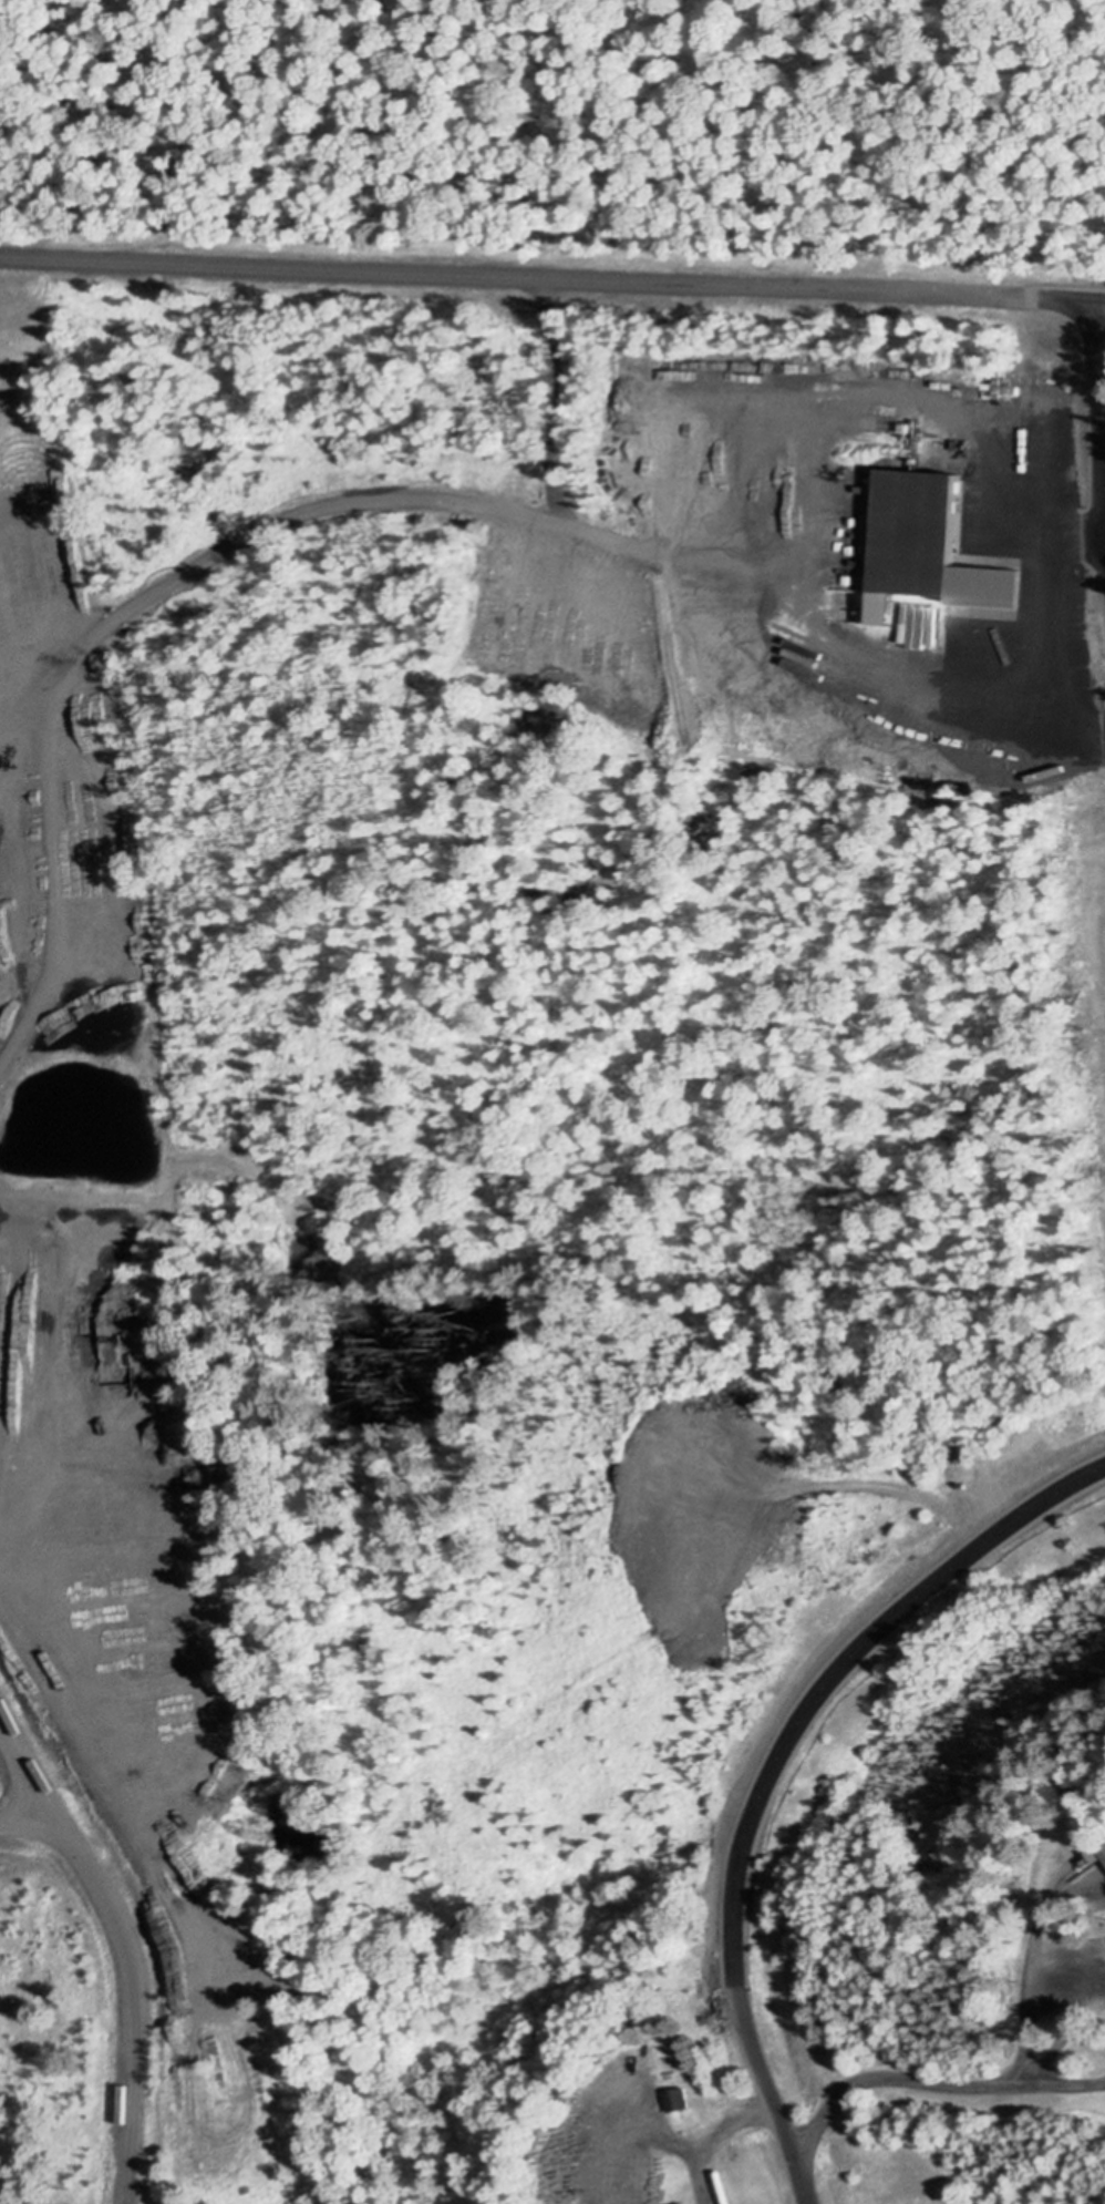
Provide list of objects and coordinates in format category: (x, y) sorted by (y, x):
road: (551, 276)
road: (1103, 315)
road: (782, 515)
road: (1016, 529)
road: (1077, 530)
road: (1051, 554)
road: (773, 1770)
road: (25, 1819)
road: (117, 1947)
road: (1030, 1961)
road: (936, 2082)
road: (709, 2133)
road: (641, 2142)

